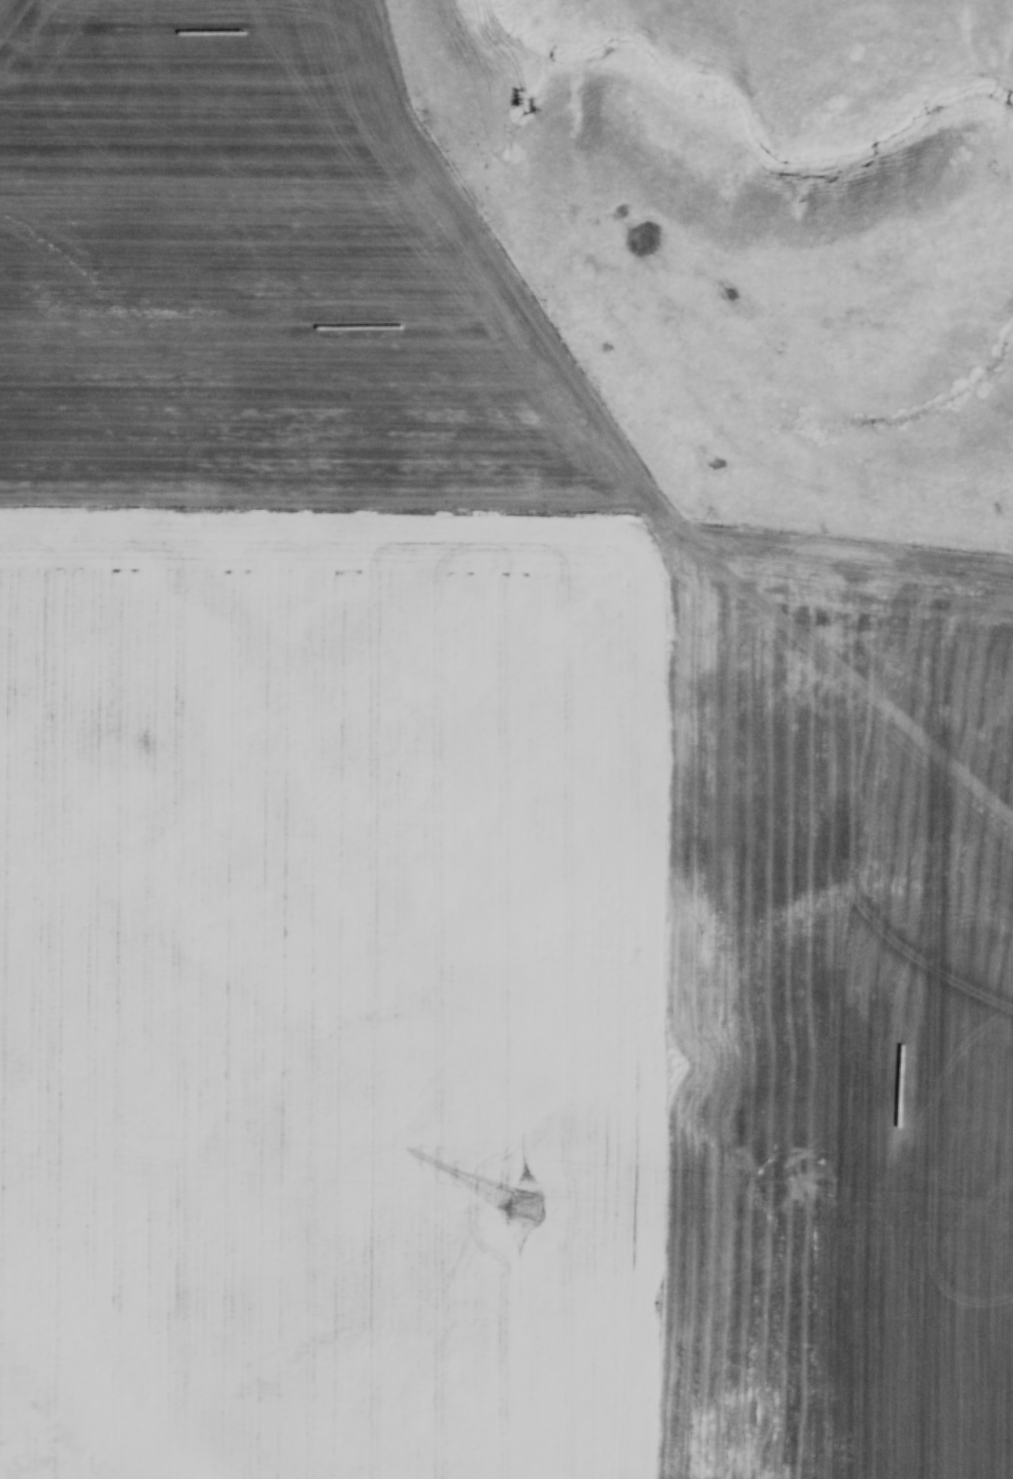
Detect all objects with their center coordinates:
power tower: (521, 1210)

